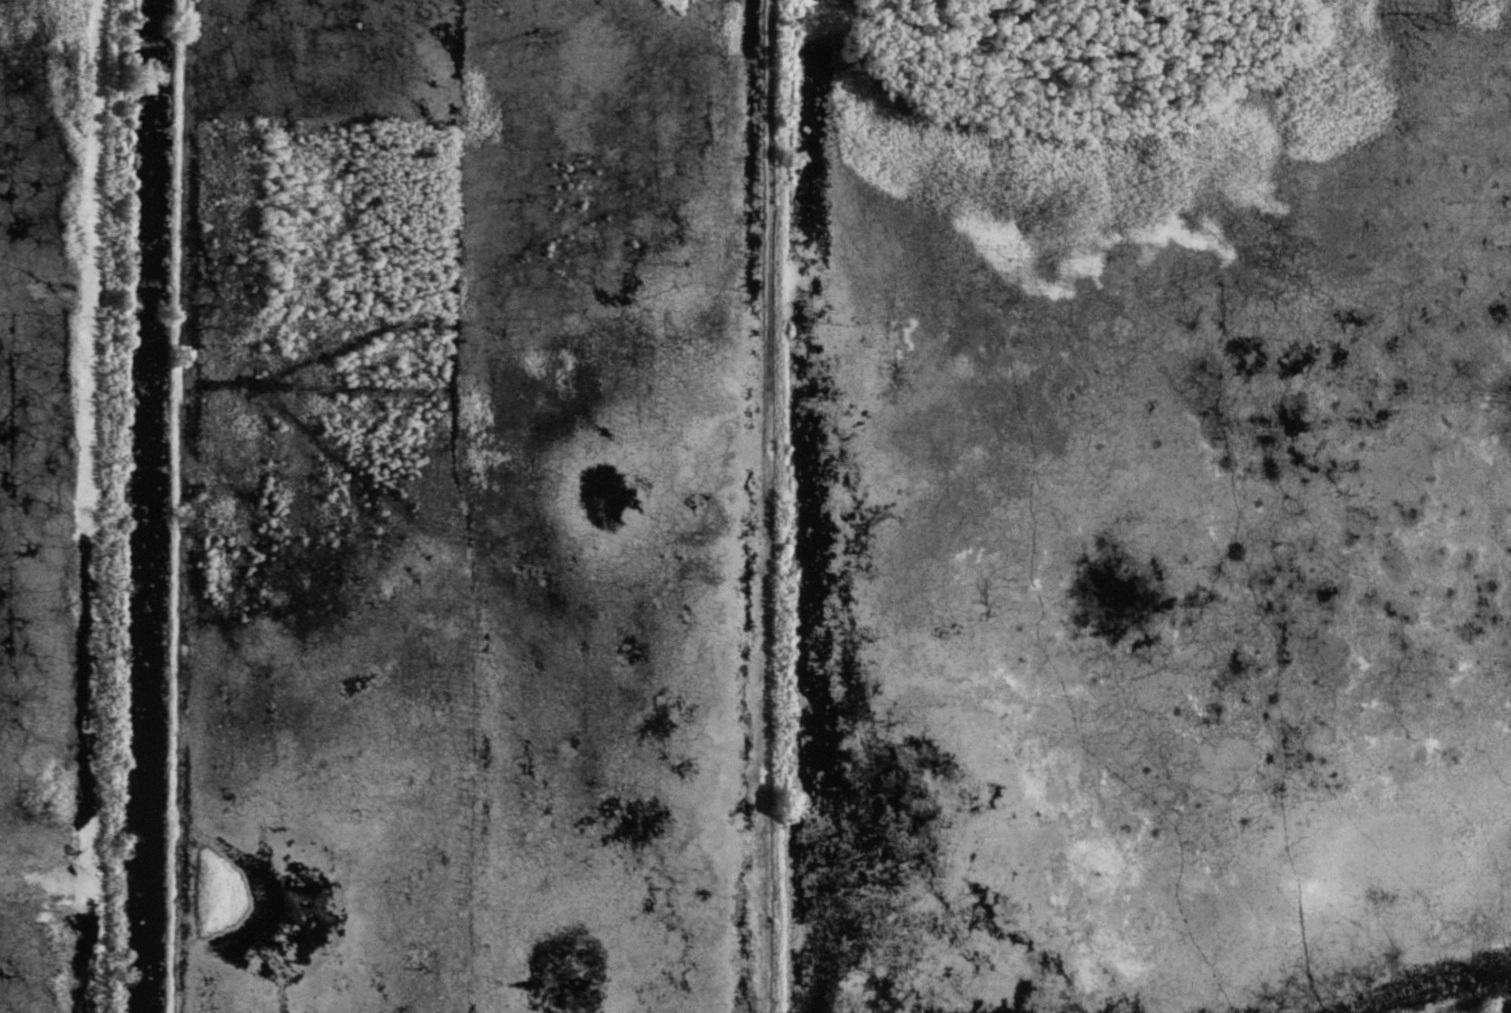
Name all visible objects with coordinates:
crop: (46, 477)
road: (115, 506)
road: (777, 506)

